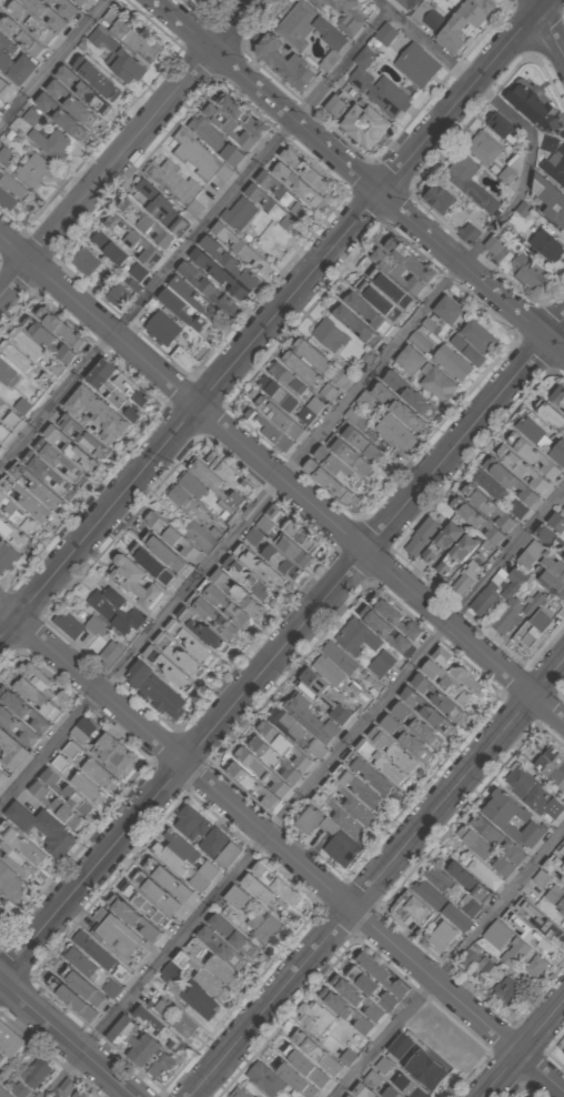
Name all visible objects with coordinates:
building: (200, 0)
building: (201, 0)
building: (79, 2)
building: (406, 3)
building: (64, 8)
building: (343, 13)
building: (47, 14)
building: (429, 16)
building: (29, 22)
building: (465, 22)
road: (551, 26)
building: (308, 28)
building: (386, 33)
building: (19, 37)
building: (130, 37)
building: (7, 46)
building: (115, 57)
building: (330, 60)
road: (54, 63)
building: (282, 64)
building: (417, 64)
building: (17, 68)
road: (455, 68)
building: (95, 79)
building: (376, 87)
building: (81, 90)
building: (70, 103)
building: (335, 107)
building: (533, 107)
building: (59, 115)
building: (241, 115)
building: (32, 117)
building: (364, 124)
building: (228, 127)
building: (502, 128)
building: (50, 141)
building: (214, 141)
building: (484, 148)
road: (128, 149)
building: (554, 150)
building: (198, 158)
building: (34, 169)
building: (304, 170)
building: (508, 174)
road: (360, 175)
building: (469, 183)
building: (295, 184)
building: (175, 185)
building: (147, 189)
building: (9, 191)
building: (281, 194)
building: (439, 199)
building: (548, 200)
building: (269, 208)
building: (238, 213)
building: (168, 215)
building: (143, 222)
building: (467, 233)
road: (193, 239)
building: (132, 241)
building: (547, 244)
building: (109, 246)
building: (239, 246)
building: (495, 246)
building: (411, 259)
building: (85, 261)
building: (225, 261)
building: (399, 271)
building: (525, 271)
building: (139, 272)
building: (219, 274)
building: (372, 279)
building: (205, 289)
building: (119, 295)
building: (193, 298)
building: (178, 310)
building: (445, 310)
building: (394, 311)
building: (369, 312)
road: (272, 320)
building: (357, 325)
building: (431, 325)
building: (59, 329)
building: (161, 329)
building: (331, 334)
building: (477, 336)
building: (47, 340)
building: (422, 340)
building: (28, 342)
building: (467, 350)
building: (312, 354)
building: (19, 356)
building: (182, 358)
building: (453, 362)
building: (301, 366)
building: (425, 373)
building: (8, 374)
building: (288, 378)
building: (340, 378)
building: (121, 382)
building: (278, 392)
building: (409, 394)
building: (114, 397)
building: (557, 399)
building: (366, 403)
building: (1, 404)
building: (23, 406)
building: (396, 406)
building: (312, 409)
building: (97, 414)
building: (548, 414)
building: (280, 415)
building: (355, 419)
building: (9, 424)
building: (269, 429)
building: (394, 433)
building: (532, 433)
building: (83, 437)
building: (356, 440)
building: (70, 450)
building: (557, 453)
building: (348, 455)
building: (531, 455)
building: (57, 460)
building: (336, 467)
building: (520, 469)
building: (228, 474)
building: (48, 475)
road: (283, 479)
building: (507, 480)
road: (281, 481)
building: (325, 481)
building: (214, 484)
building: (193, 485)
building: (36, 487)
building: (179, 494)
building: (24, 500)
building: (486, 506)
building: (563, 510)
building: (17, 515)
building: (271, 520)
building: (475, 521)
building: (556, 523)
building: (11, 534)
building: (171, 536)
building: (198, 536)
building: (299, 536)
building: (421, 537)
building: (551, 540)
building: (441, 543)
building: (165, 551)
building: (291, 551)
building: (456, 554)
building: (6, 557)
building: (151, 561)
building: (255, 566)
building: (553, 567)
building: (467, 577)
building: (244, 578)
building: (135, 584)
building: (239, 592)
building: (225, 603)
building: (510, 603)
building: (483, 604)
building: (117, 608)
building: (214, 615)
building: (394, 618)
building: (68, 625)
building: (95, 625)
building: (387, 630)
building: (535, 630)
building: (355, 637)
building: (184, 645)
road: (282, 651)
building: (110, 655)
building: (381, 664)
building: (168, 666)
building: (329, 680)
building: (450, 685)
building: (155, 690)
building: (33, 704)
building: (311, 718)
building: (80, 733)
building: (10, 752)
building: (67, 756)
building: (114, 756)
building: (270, 764)
building: (552, 766)
building: (379, 773)
building: (101, 775)
building: (1, 778)
building: (67, 791)
building: (90, 792)
road: (304, 793)
building: (535, 794)
building: (319, 799)
building: (56, 806)
building: (510, 819)
building: (190, 822)
building: (42, 828)
building: (487, 829)
building: (212, 841)
building: (475, 841)
road: (280, 851)
building: (178, 852)
building: (513, 853)
building: (228, 855)
building: (16, 862)
building: (504, 866)
building: (558, 866)
building: (481, 870)
building: (203, 876)
road: (379, 877)
building: (169, 878)
building: (436, 878)
building: (540, 878)
building: (469, 880)
building: (261, 882)
building: (9, 884)
building: (275, 884)
building: (431, 894)
building: (162, 896)
building: (556, 897)
building: (235, 898)
building: (147, 906)
building: (412, 914)
building: (461, 915)
building: (0, 916)
building: (133, 917)
building: (542, 919)
building: (2, 924)
building: (265, 927)
building: (118, 933)
building: (528, 934)
building: (444, 935)
building: (497, 935)
building: (233, 937)
building: (220, 948)
building: (513, 953)
building: (470, 957)
building: (174, 965)
road: (451, 966)
building: (535, 967)
building: (223, 973)
building: (84, 976)
building: (204, 976)
building: (381, 976)
building: (112, 988)
building: (504, 988)
building: (372, 989)
building: (199, 999)
building: (357, 1000)
building: (163, 1008)
building: (315, 1020)
building: (185, 1025)
building: (364, 1025)
building: (159, 1030)
road: (68, 1037)
building: (9, 1040)
building: (147, 1046)
building: (401, 1048)
road: (524, 1049)
building: (322, 1054)
building: (563, 1054)
building: (0, 1055)
building: (135, 1056)
building: (0, 1059)
building: (382, 1066)
building: (306, 1069)
building: (36, 1071)
building: (425, 1071)
building: (263, 1078)
building: (374, 1078)
building: (299, 1085)
building: (407, 1087)
building: (22, 1088)
building: (63, 1089)
building: (361, 1091)
building: (393, 1091)
building: (238, 1093)
building: (2, 1094)
building: (80, 1094)
building: (351, 1096)
building: (530, 1096)

